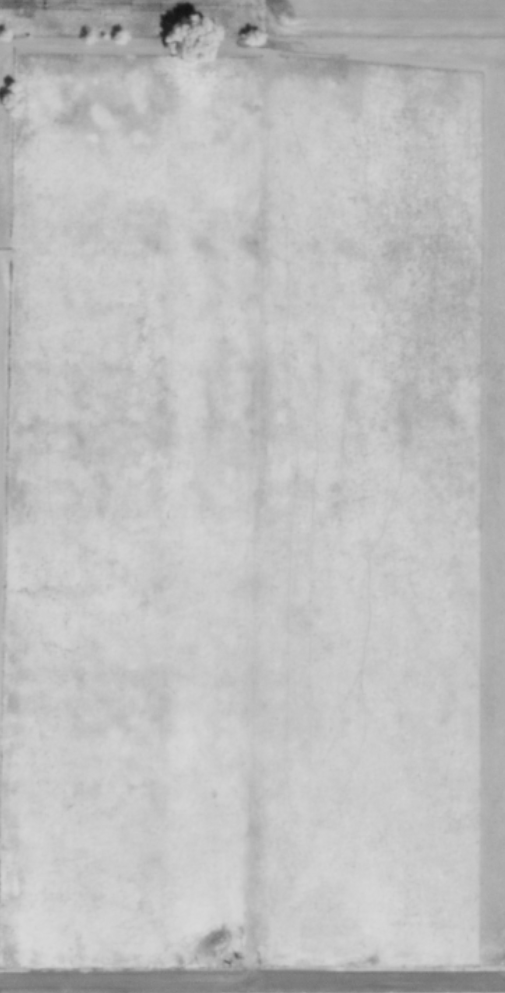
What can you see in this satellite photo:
road: (252, 985)

